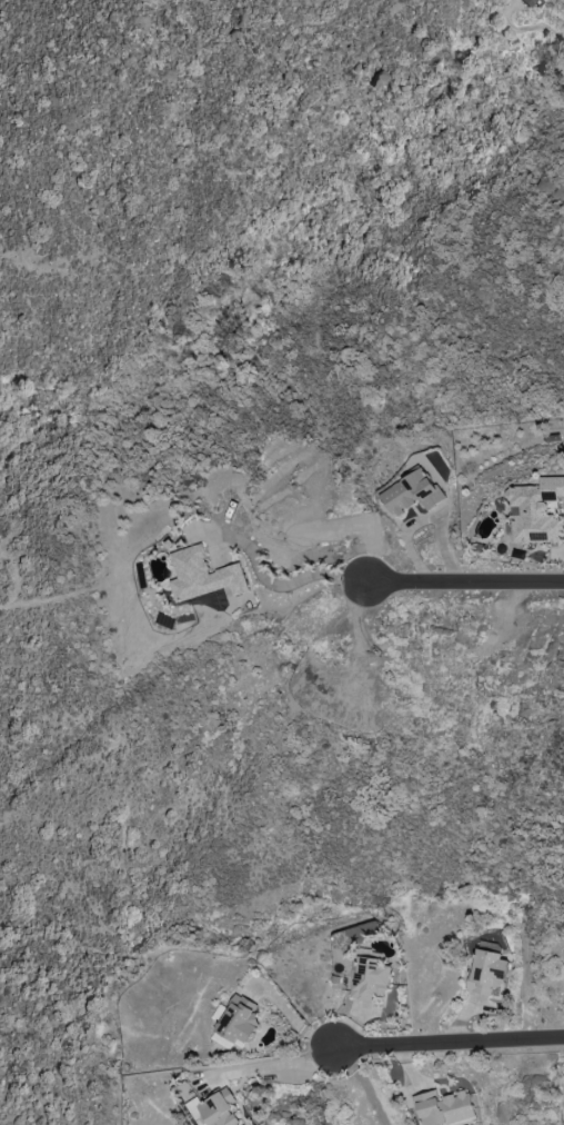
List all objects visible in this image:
building: (521, 2)
building: (410, 494)
building: (535, 511)
building: (203, 576)
road: (271, 578)
road: (461, 578)
building: (490, 947)
building: (485, 972)
building: (369, 978)
building: (233, 1023)
road: (443, 1045)
road: (262, 1066)
building: (442, 1108)
building: (218, 1109)

